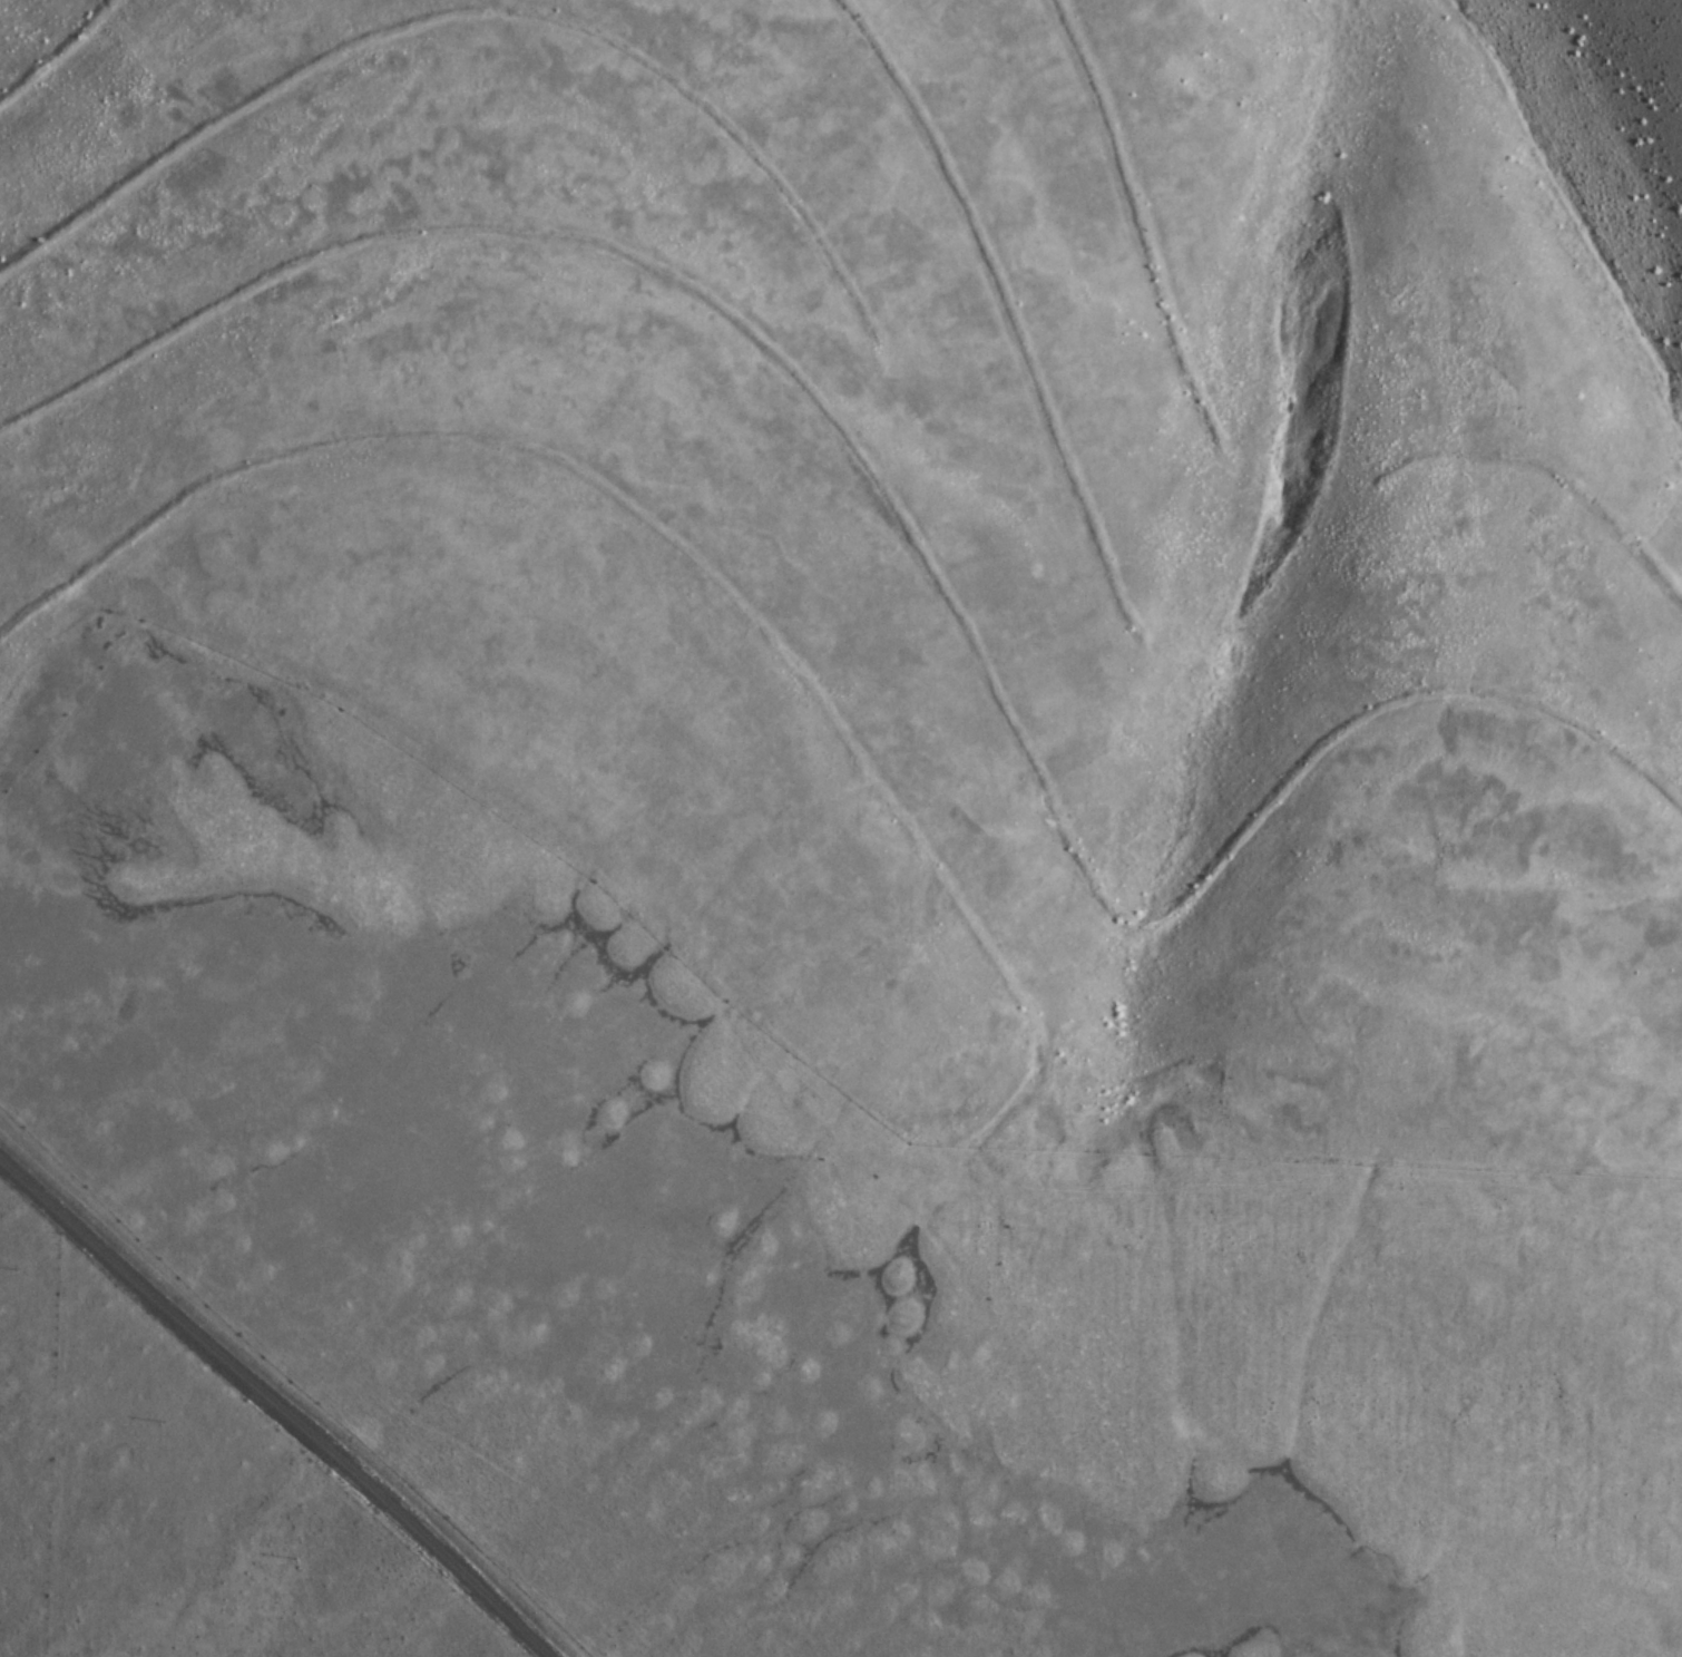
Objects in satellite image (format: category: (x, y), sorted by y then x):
road: (275, 1398)

